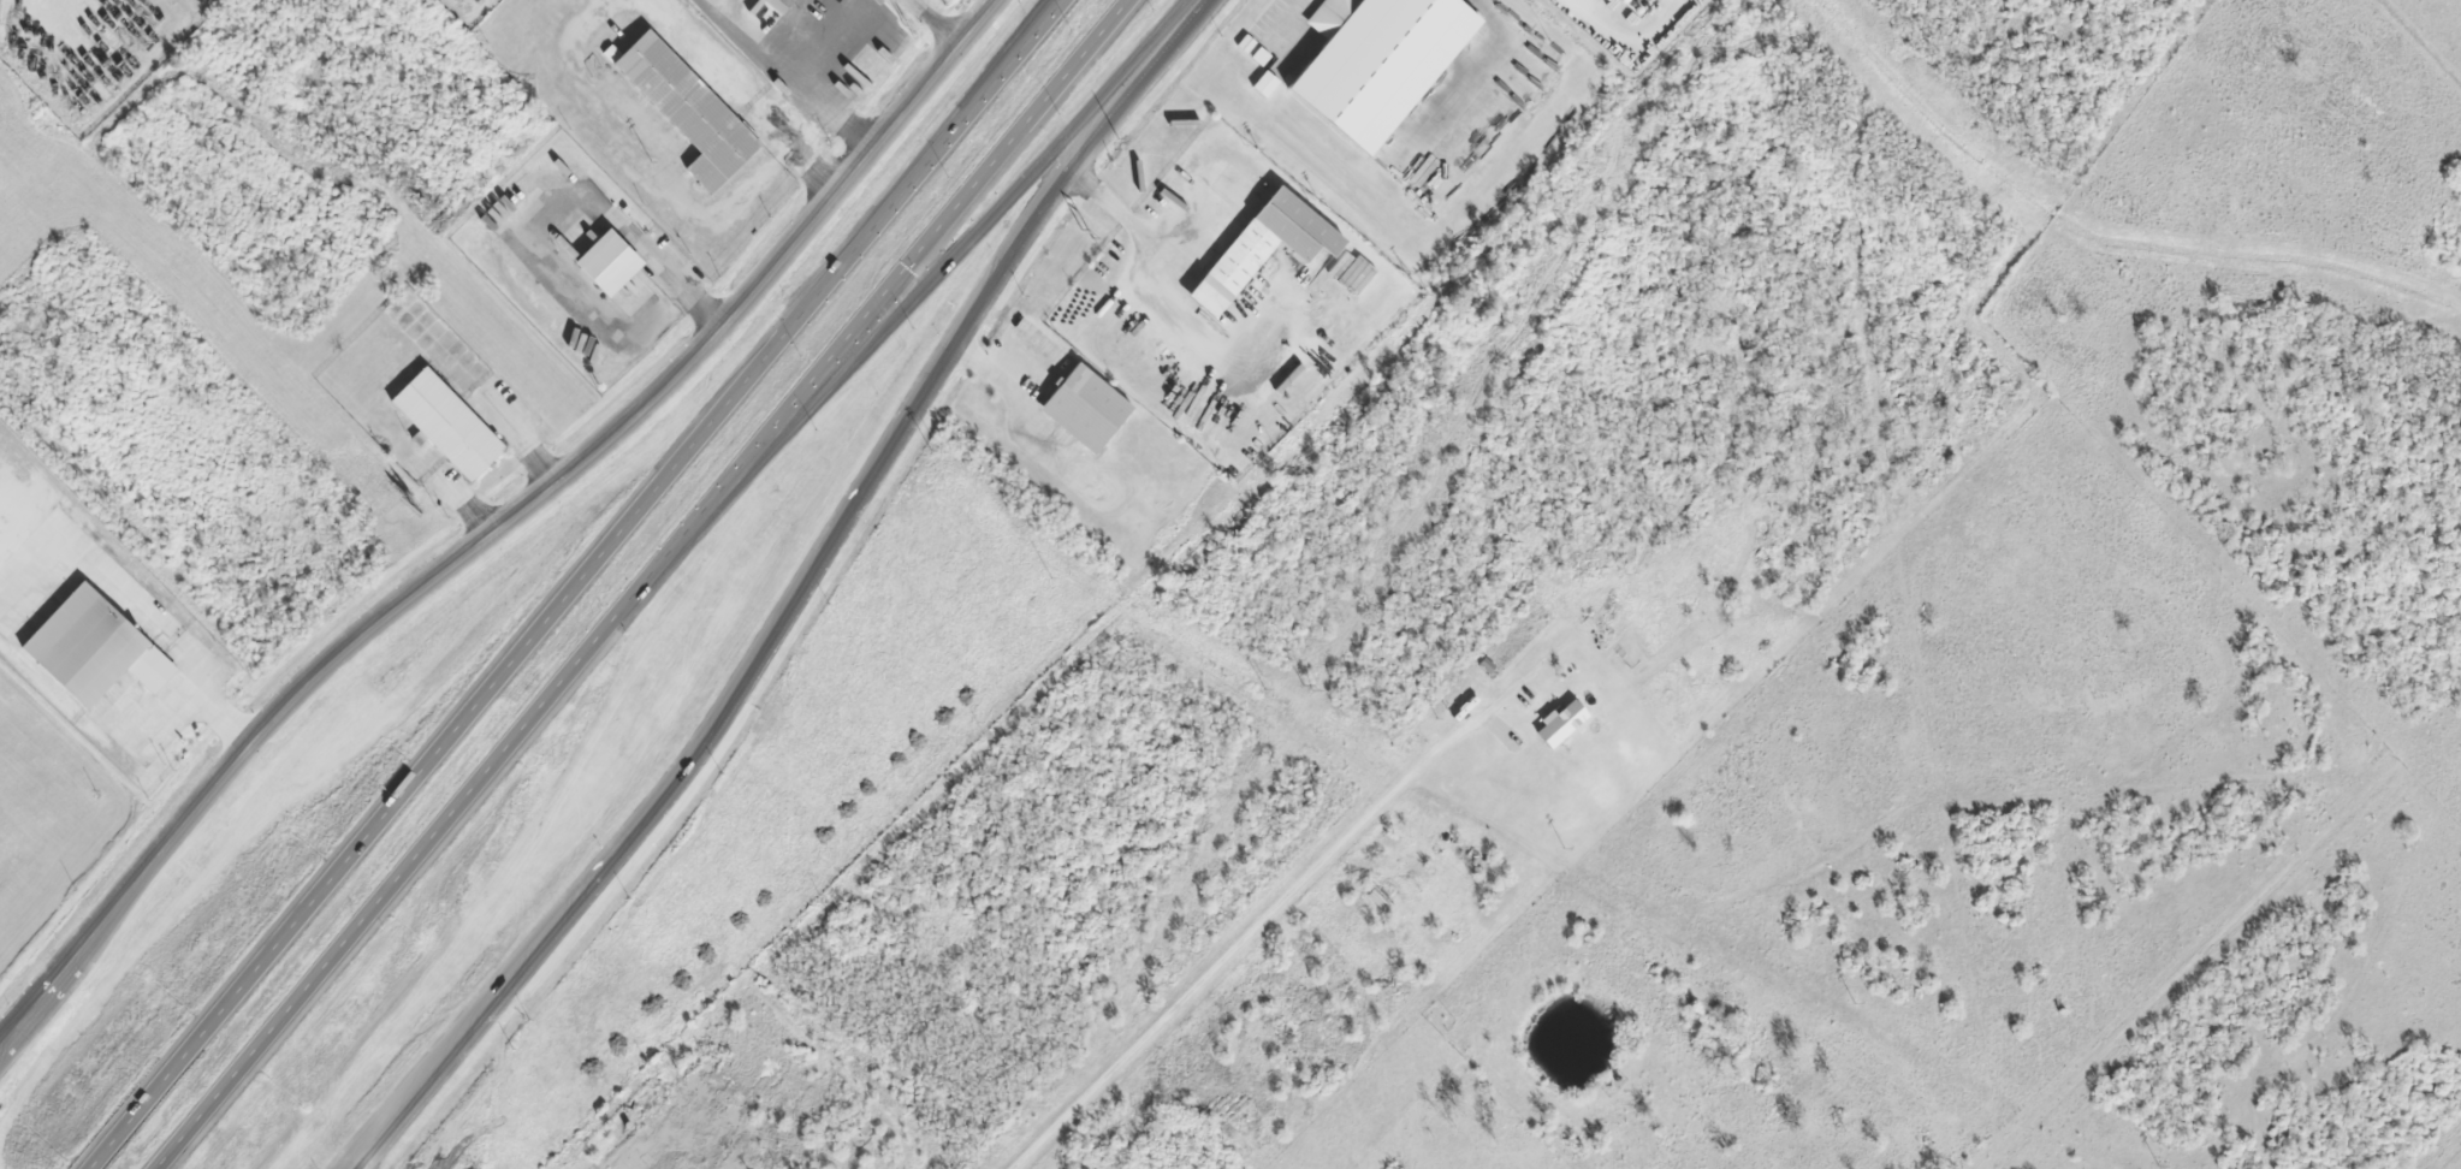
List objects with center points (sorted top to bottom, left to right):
building: (776, 5)
road: (950, 17)
building: (1378, 63)
building: (1264, 84)
road: (989, 88)
building: (694, 109)
road: (921, 172)
road: (984, 225)
power tower: (1571, 239)
building: (1262, 248)
road: (932, 251)
building: (607, 266)
building: (1351, 272)
building: (1084, 409)
building: (445, 425)
road: (621, 428)
road: (871, 486)
building: (90, 642)
power tower: (1306, 688)
building: (1559, 724)
road: (431, 759)
road: (440, 833)
road: (97, 926)
road: (1221, 960)
road: (434, 1068)

